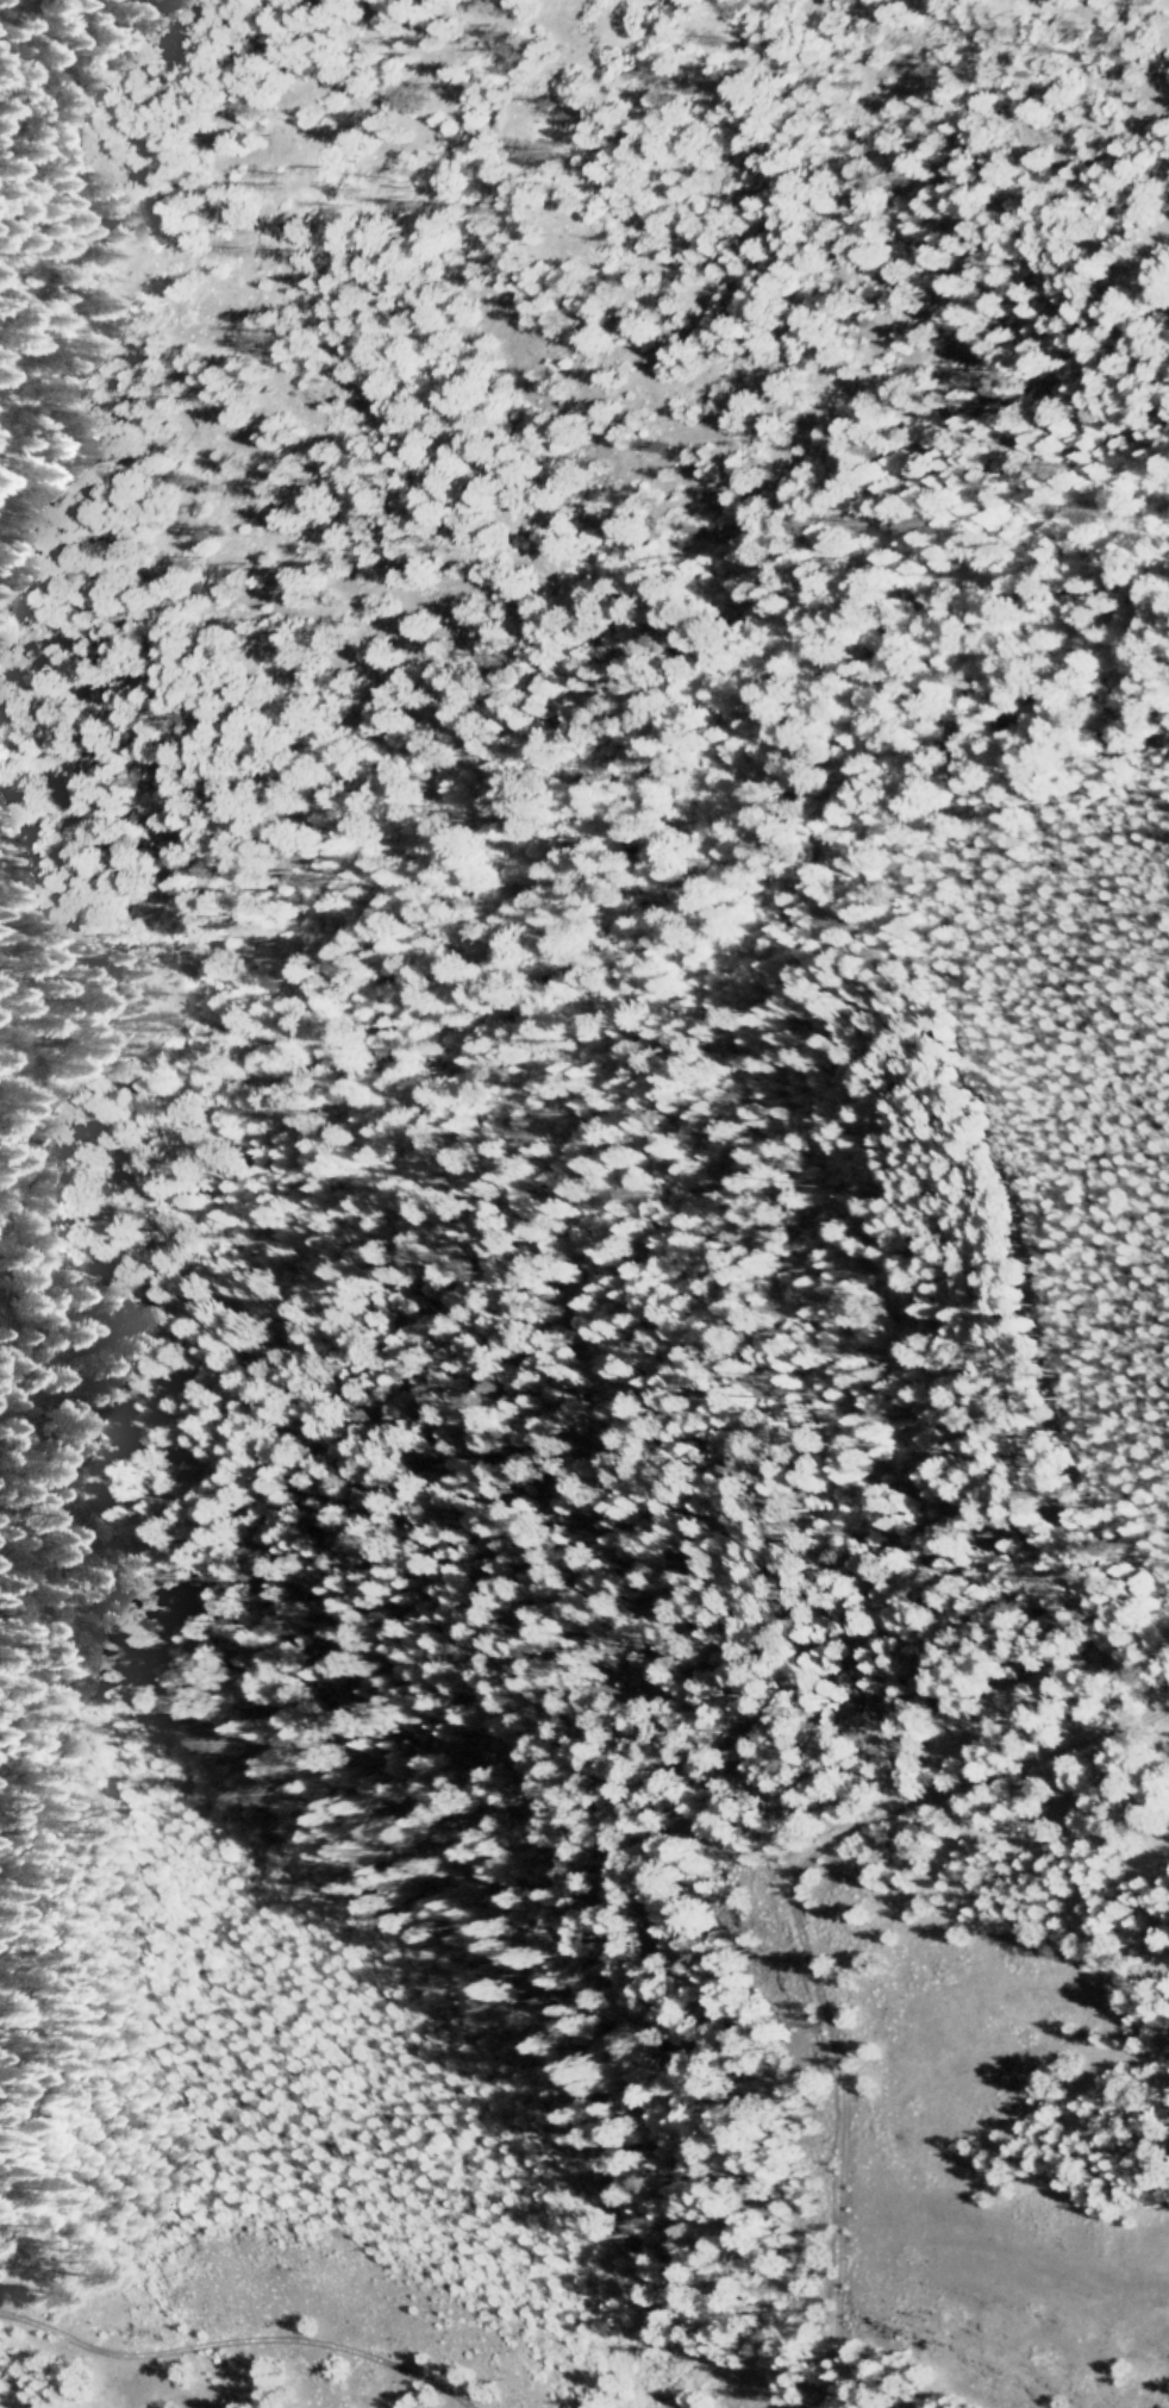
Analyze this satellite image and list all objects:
road: (788, 1931)
road: (252, 2338)

